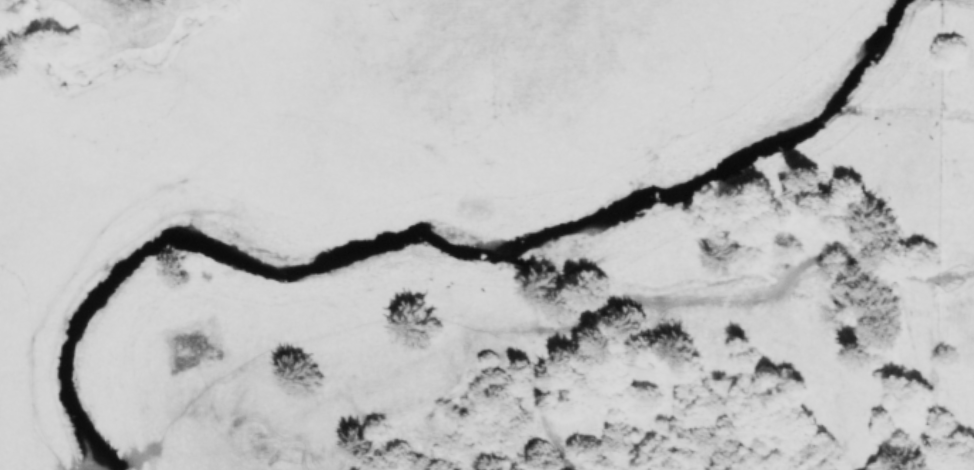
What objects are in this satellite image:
crop: (464, 132)

